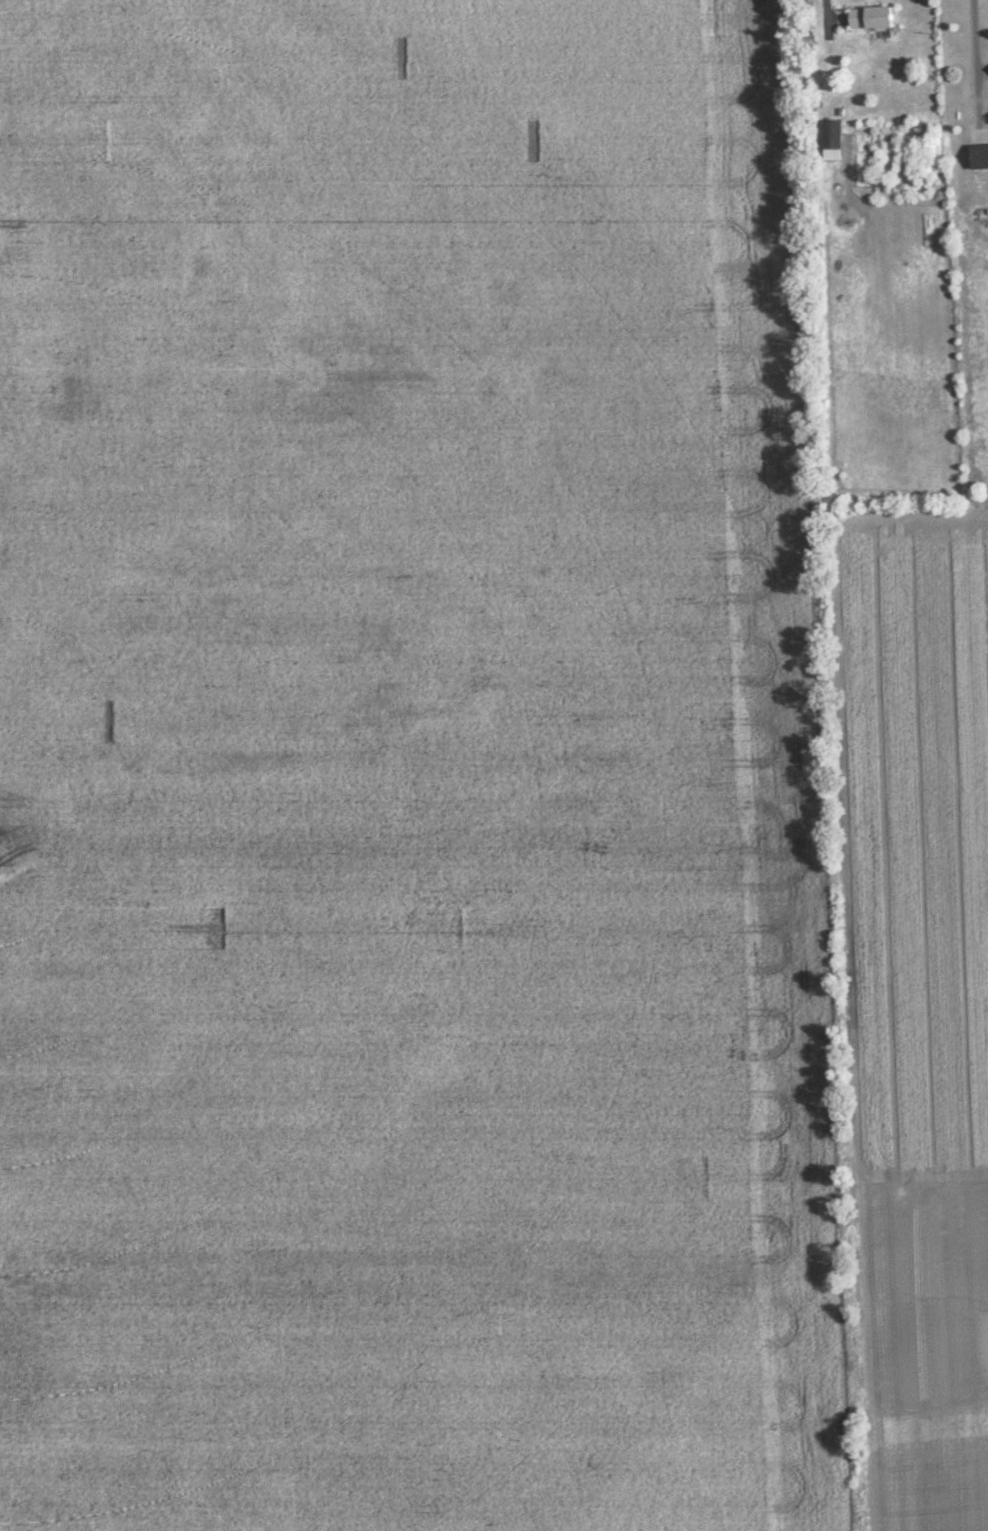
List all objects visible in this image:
road: (823, 3)
building: (871, 19)
road: (975, 37)
building: (832, 142)
building: (979, 158)

